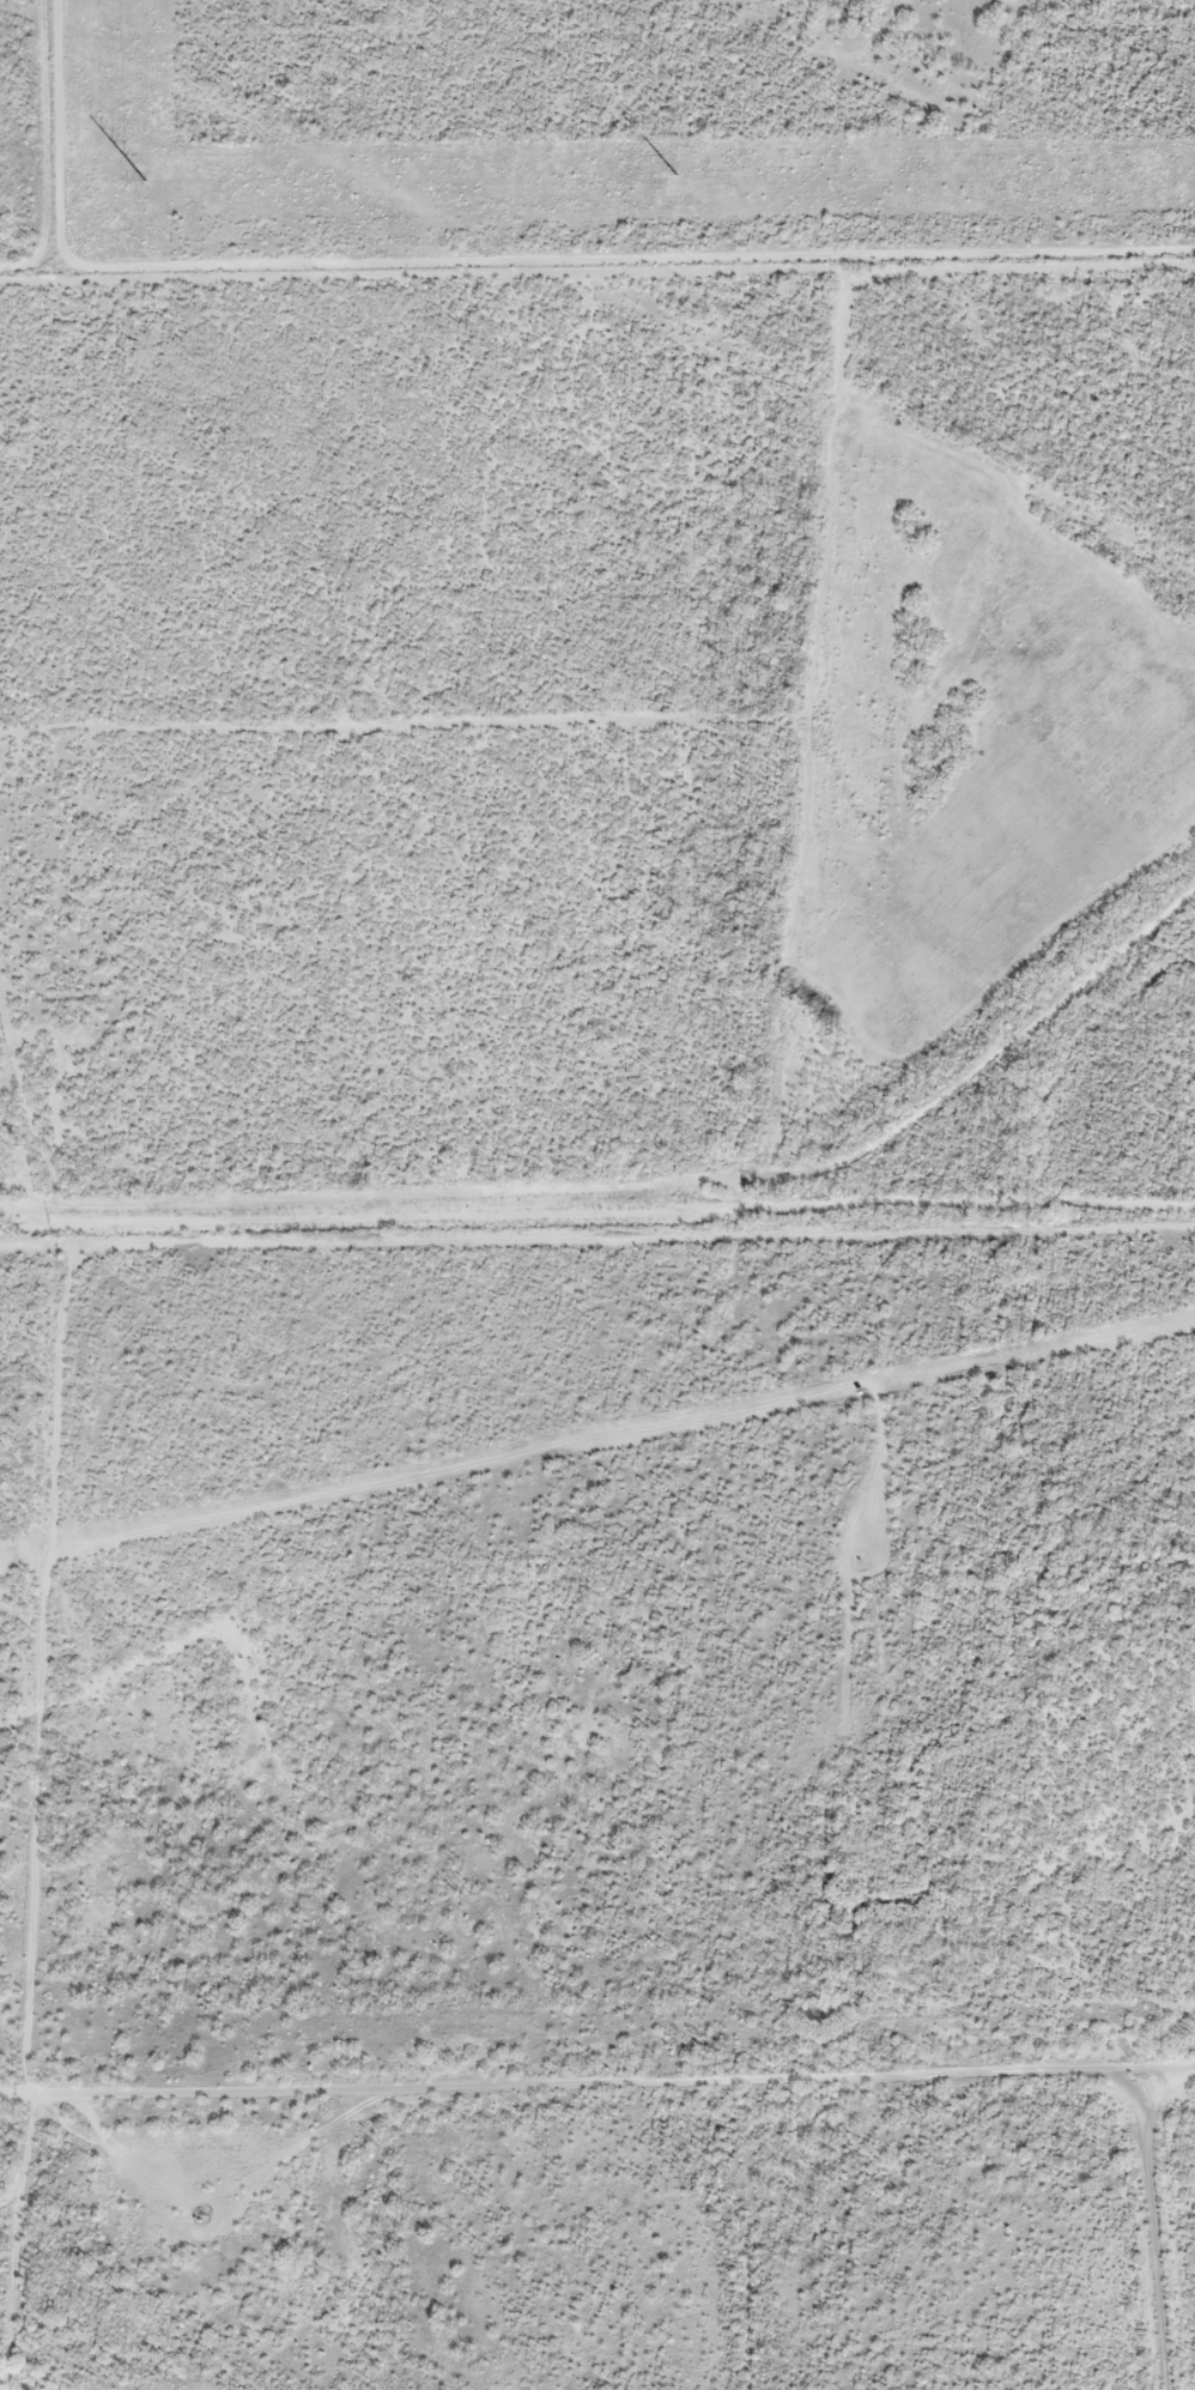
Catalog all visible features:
power tower: (674, 179)
power tower: (142, 184)
road: (596, 2081)
road: (1122, 2233)

